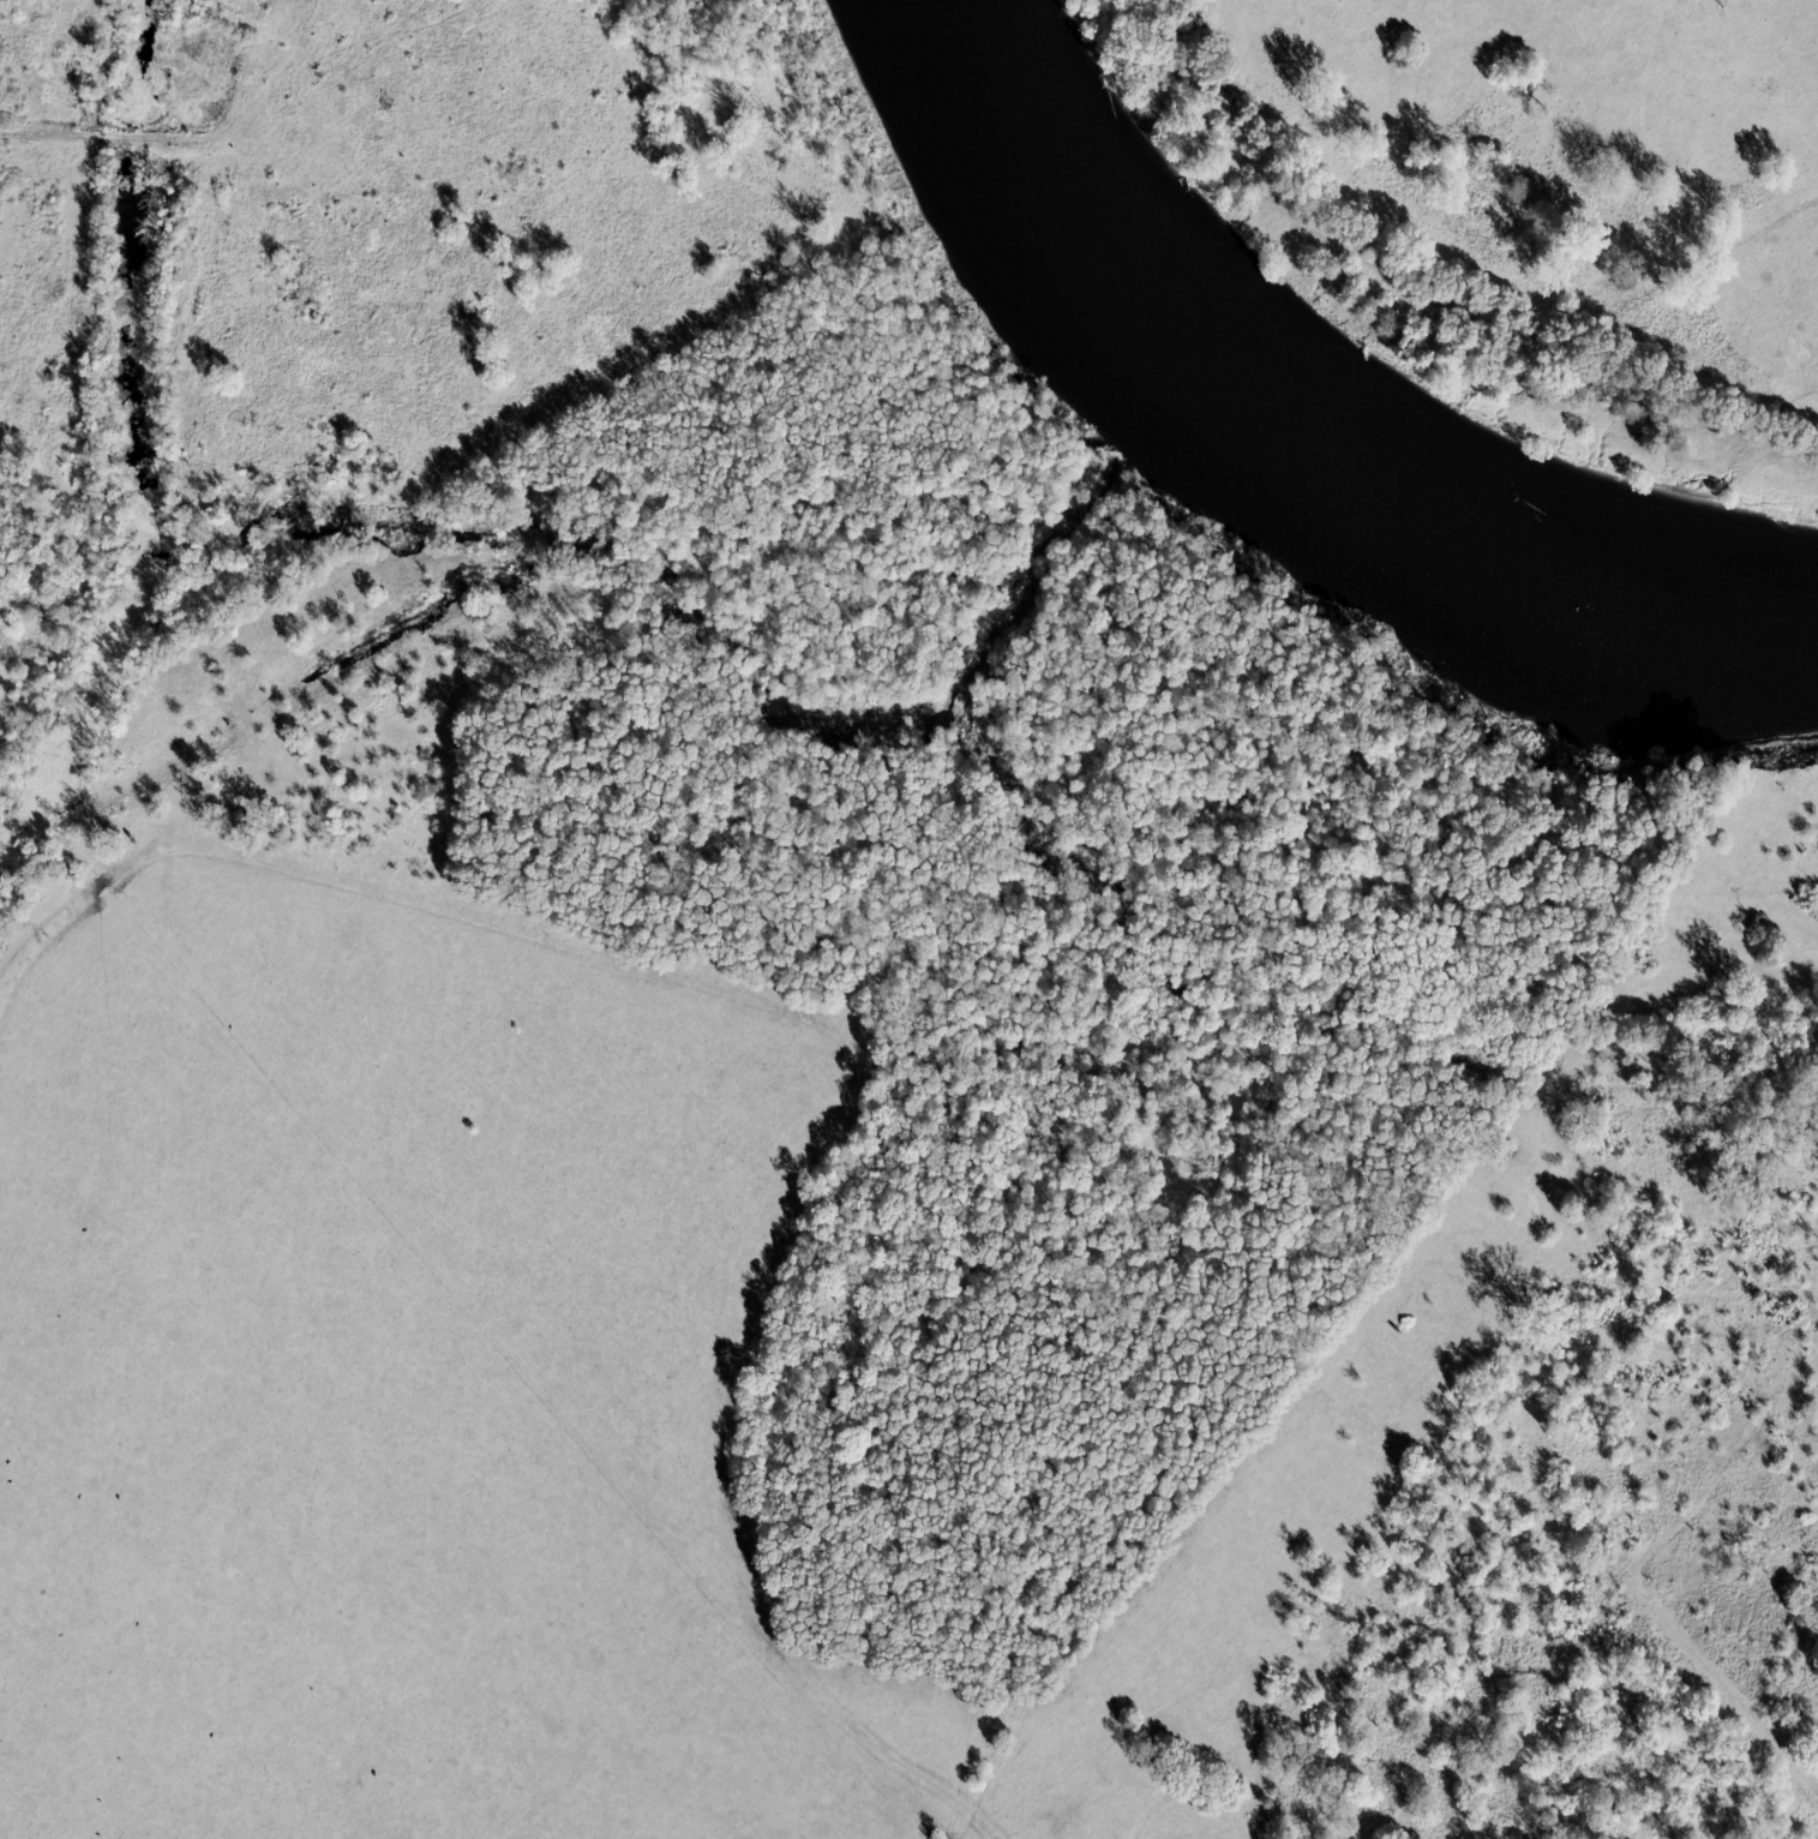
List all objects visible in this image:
road: (116, 133)
river: (1304, 432)
road: (1662, 1619)

